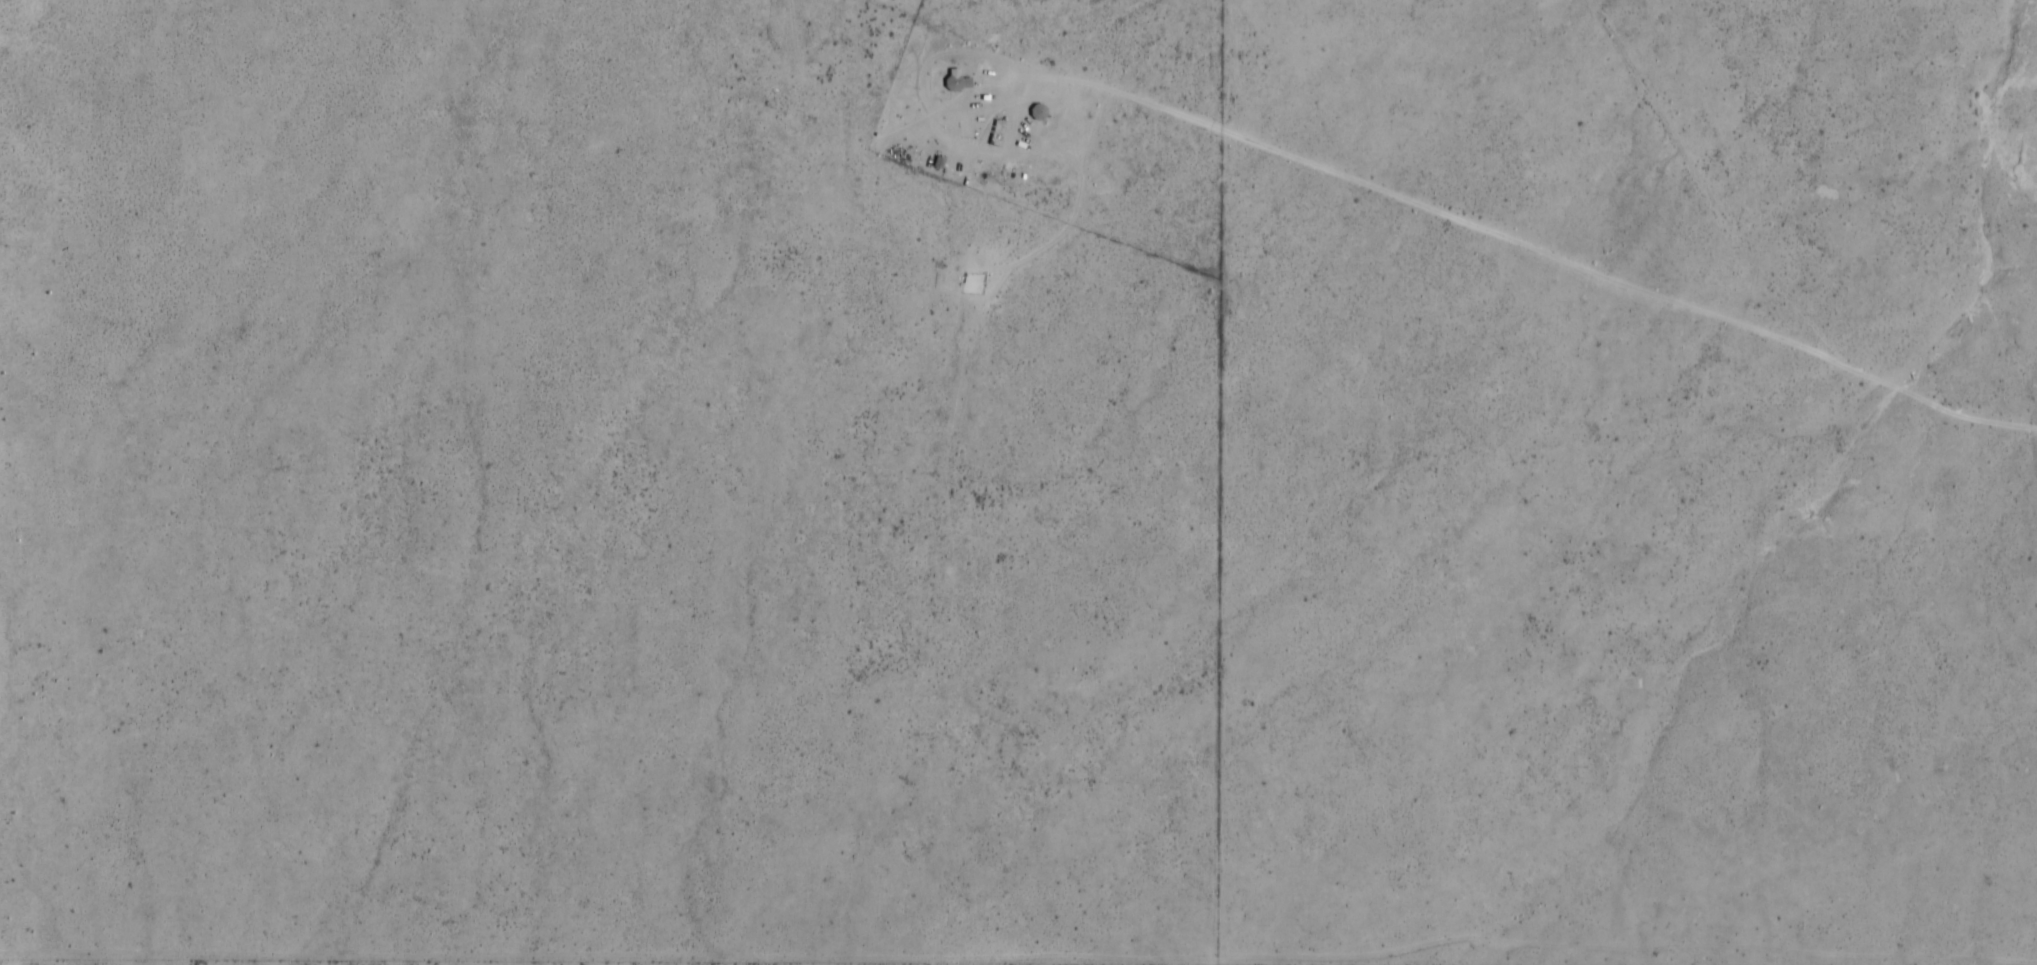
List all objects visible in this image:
building: (956, 84)

